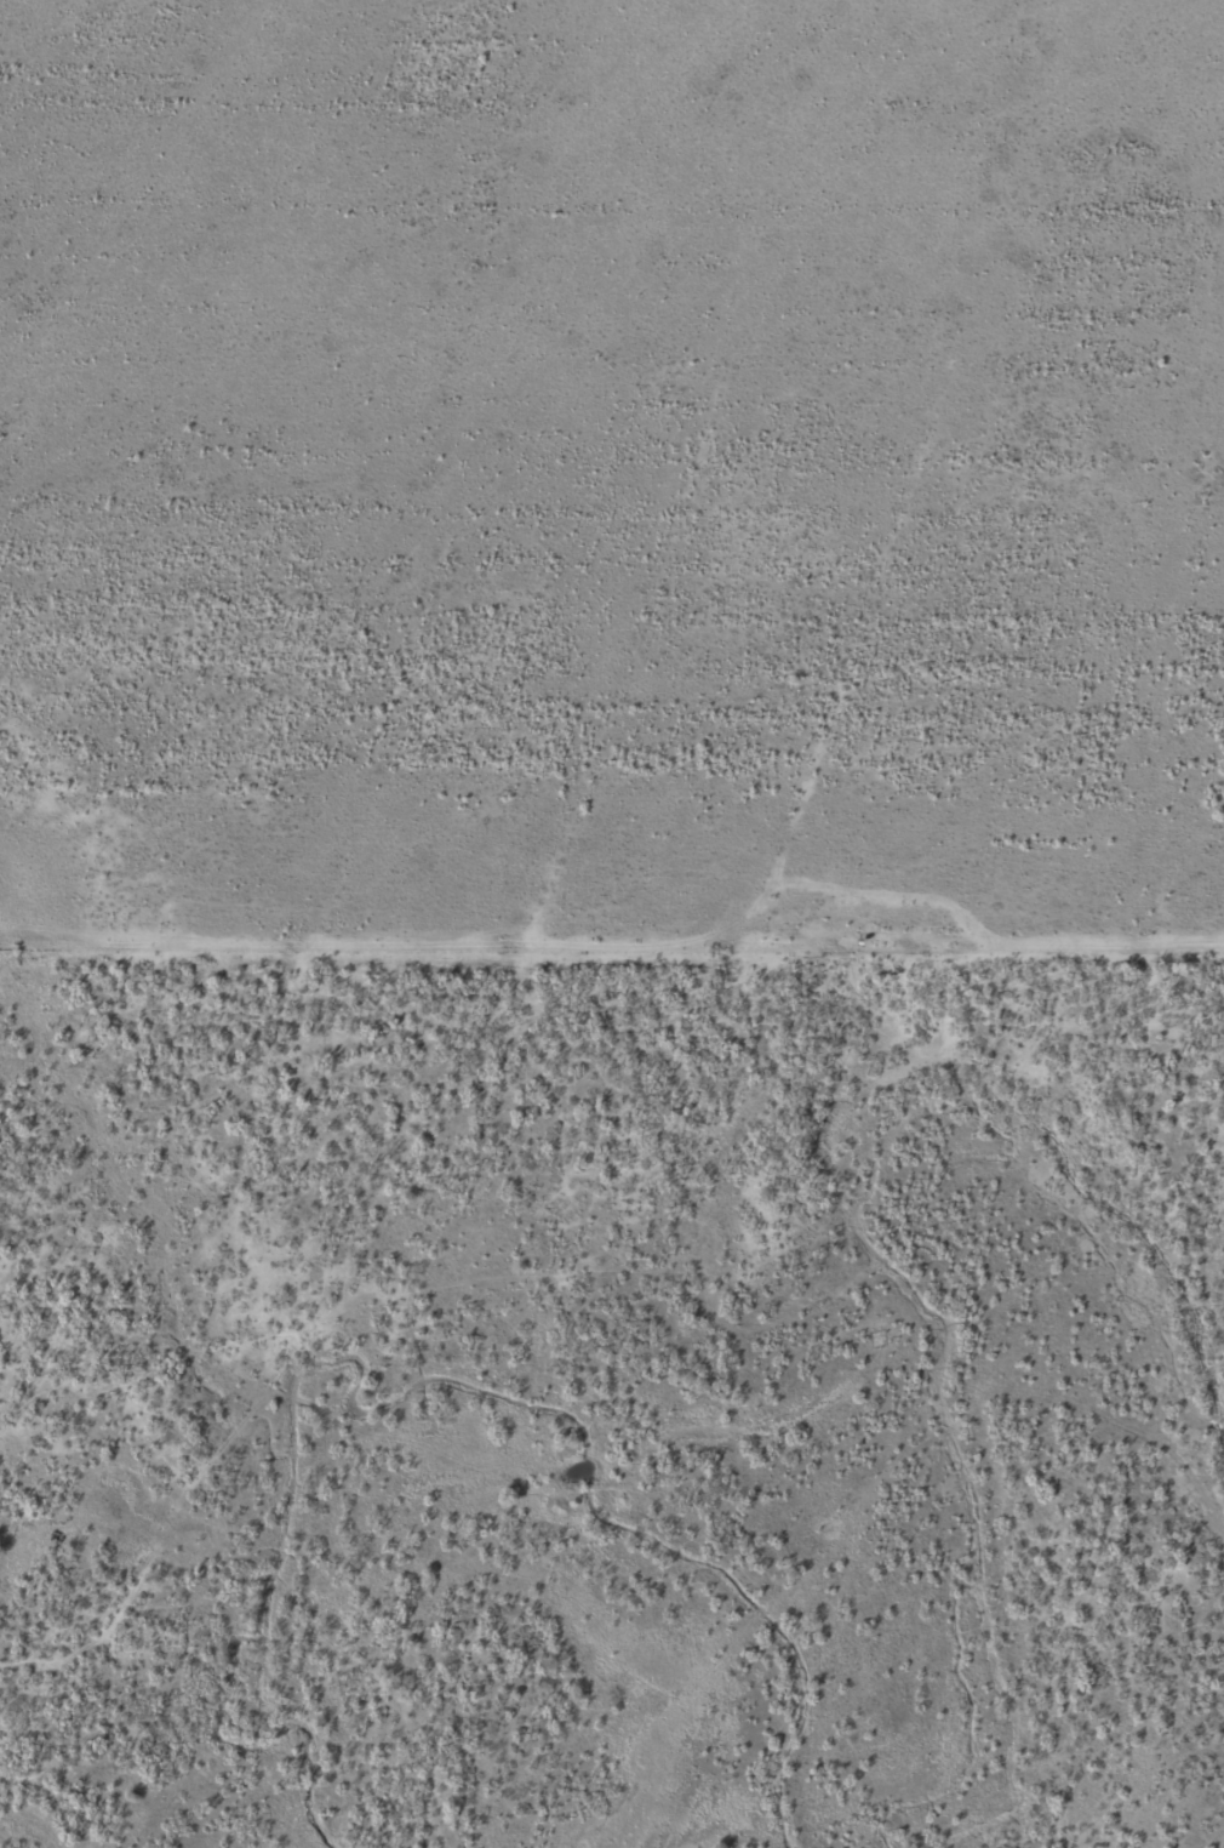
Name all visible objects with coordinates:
road: (613, 987)

